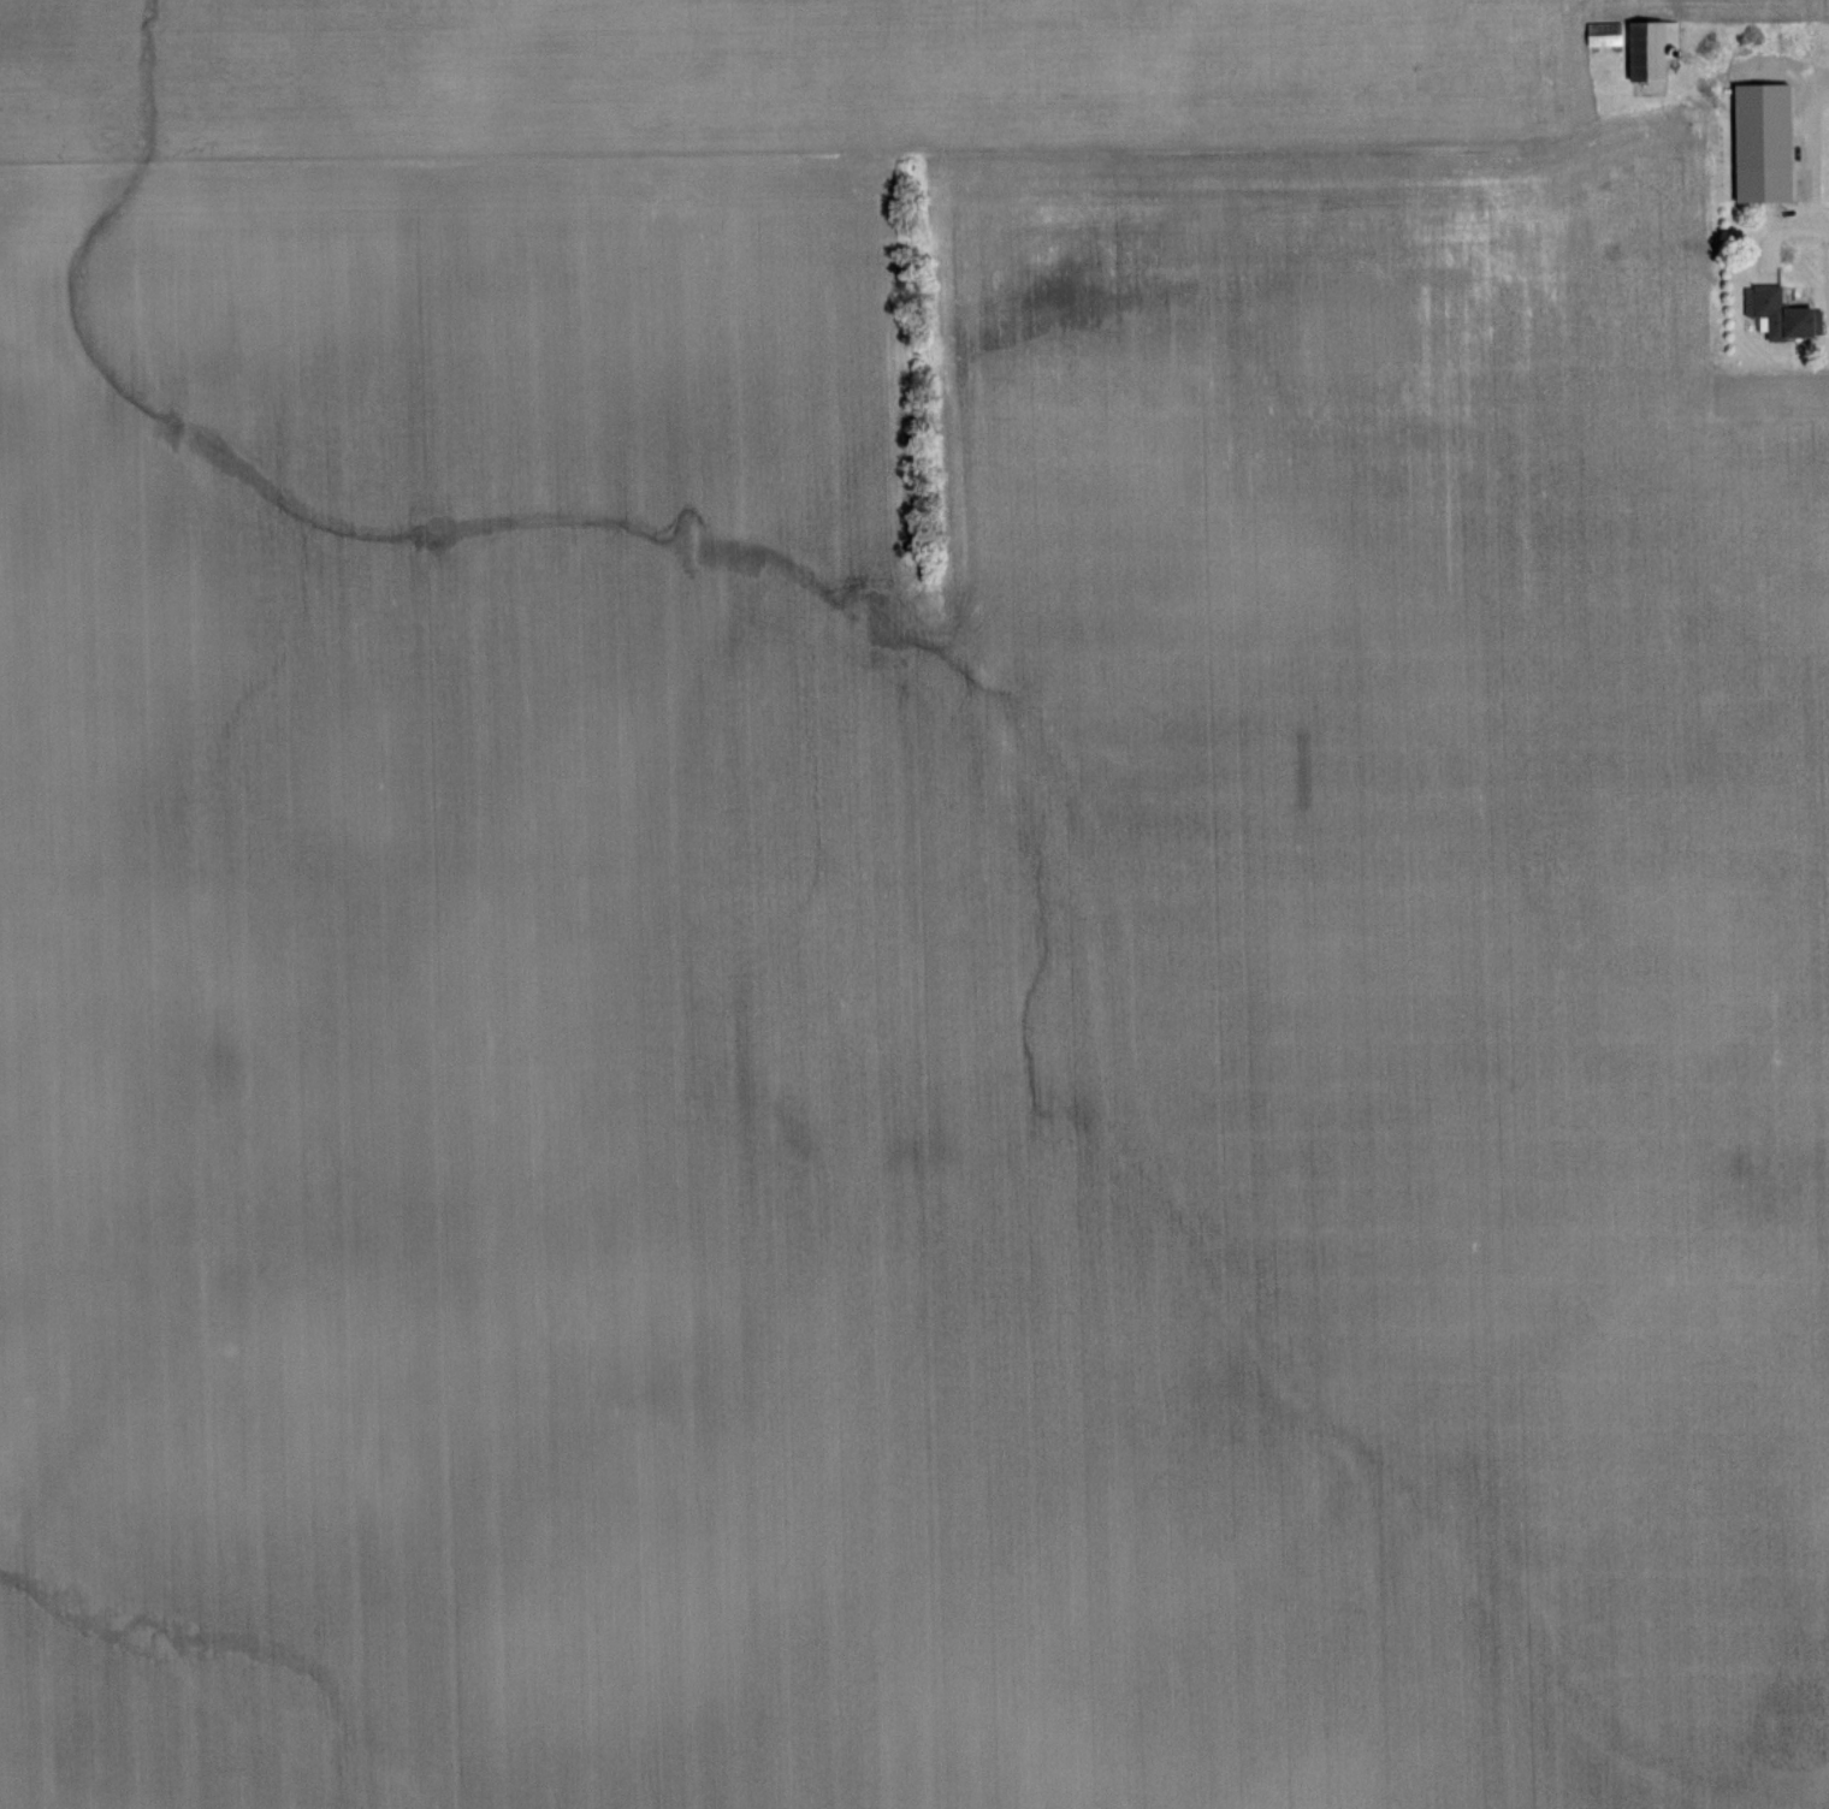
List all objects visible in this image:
building: (1608, 37)
building: (1653, 49)
building: (1768, 146)
building: (1780, 315)
crop: (900, 915)

